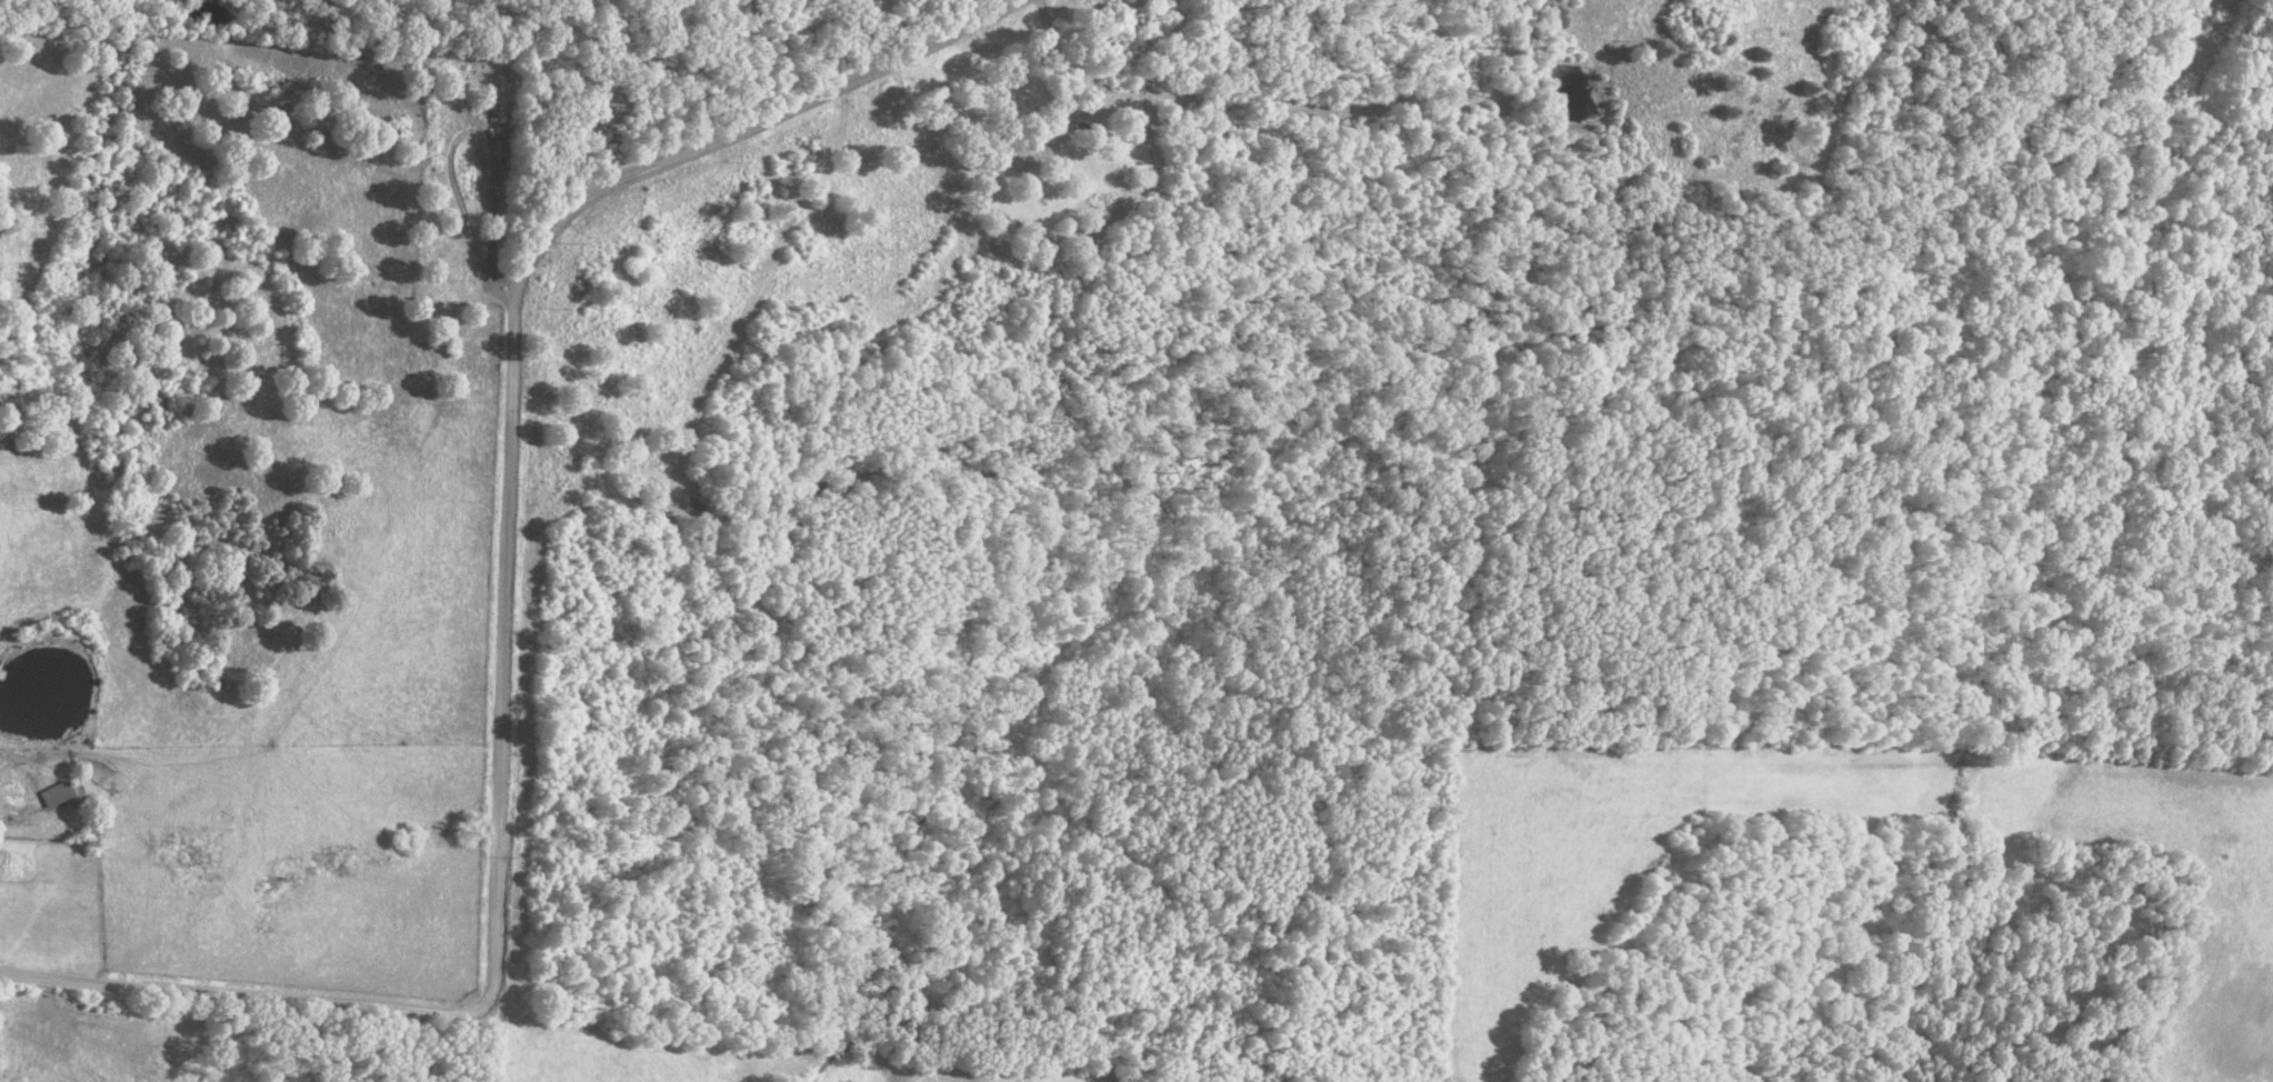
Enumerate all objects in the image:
road: (913, 56)
road: (518, 483)
building: (56, 794)
road: (244, 995)

